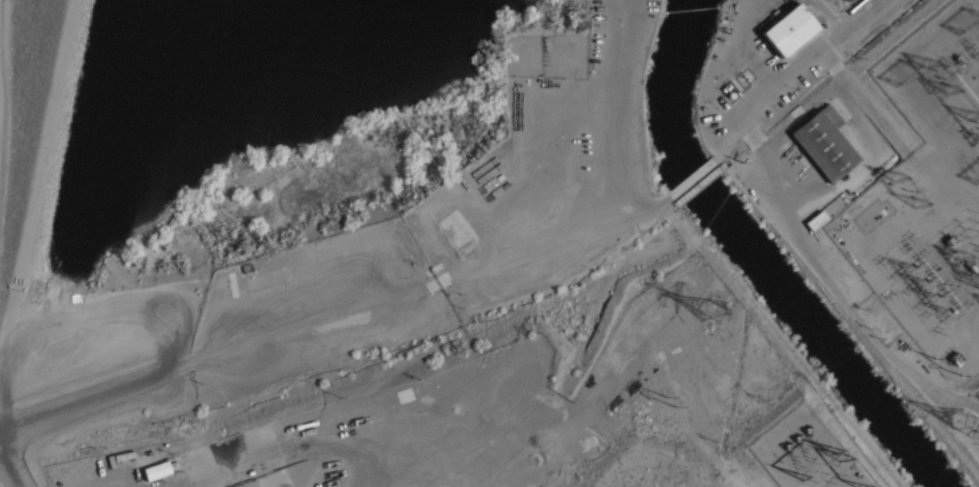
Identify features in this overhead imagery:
building: (781, 31)
road: (4, 70)
building: (814, 146)
dam: (85, 173)
power substation: (926, 177)
power plant: (863, 182)
road: (54, 203)
building: (261, 282)
power tower: (712, 303)
road: (172, 365)
power tower: (676, 393)
power plant: (611, 399)
road: (14, 407)
power substation: (810, 452)

